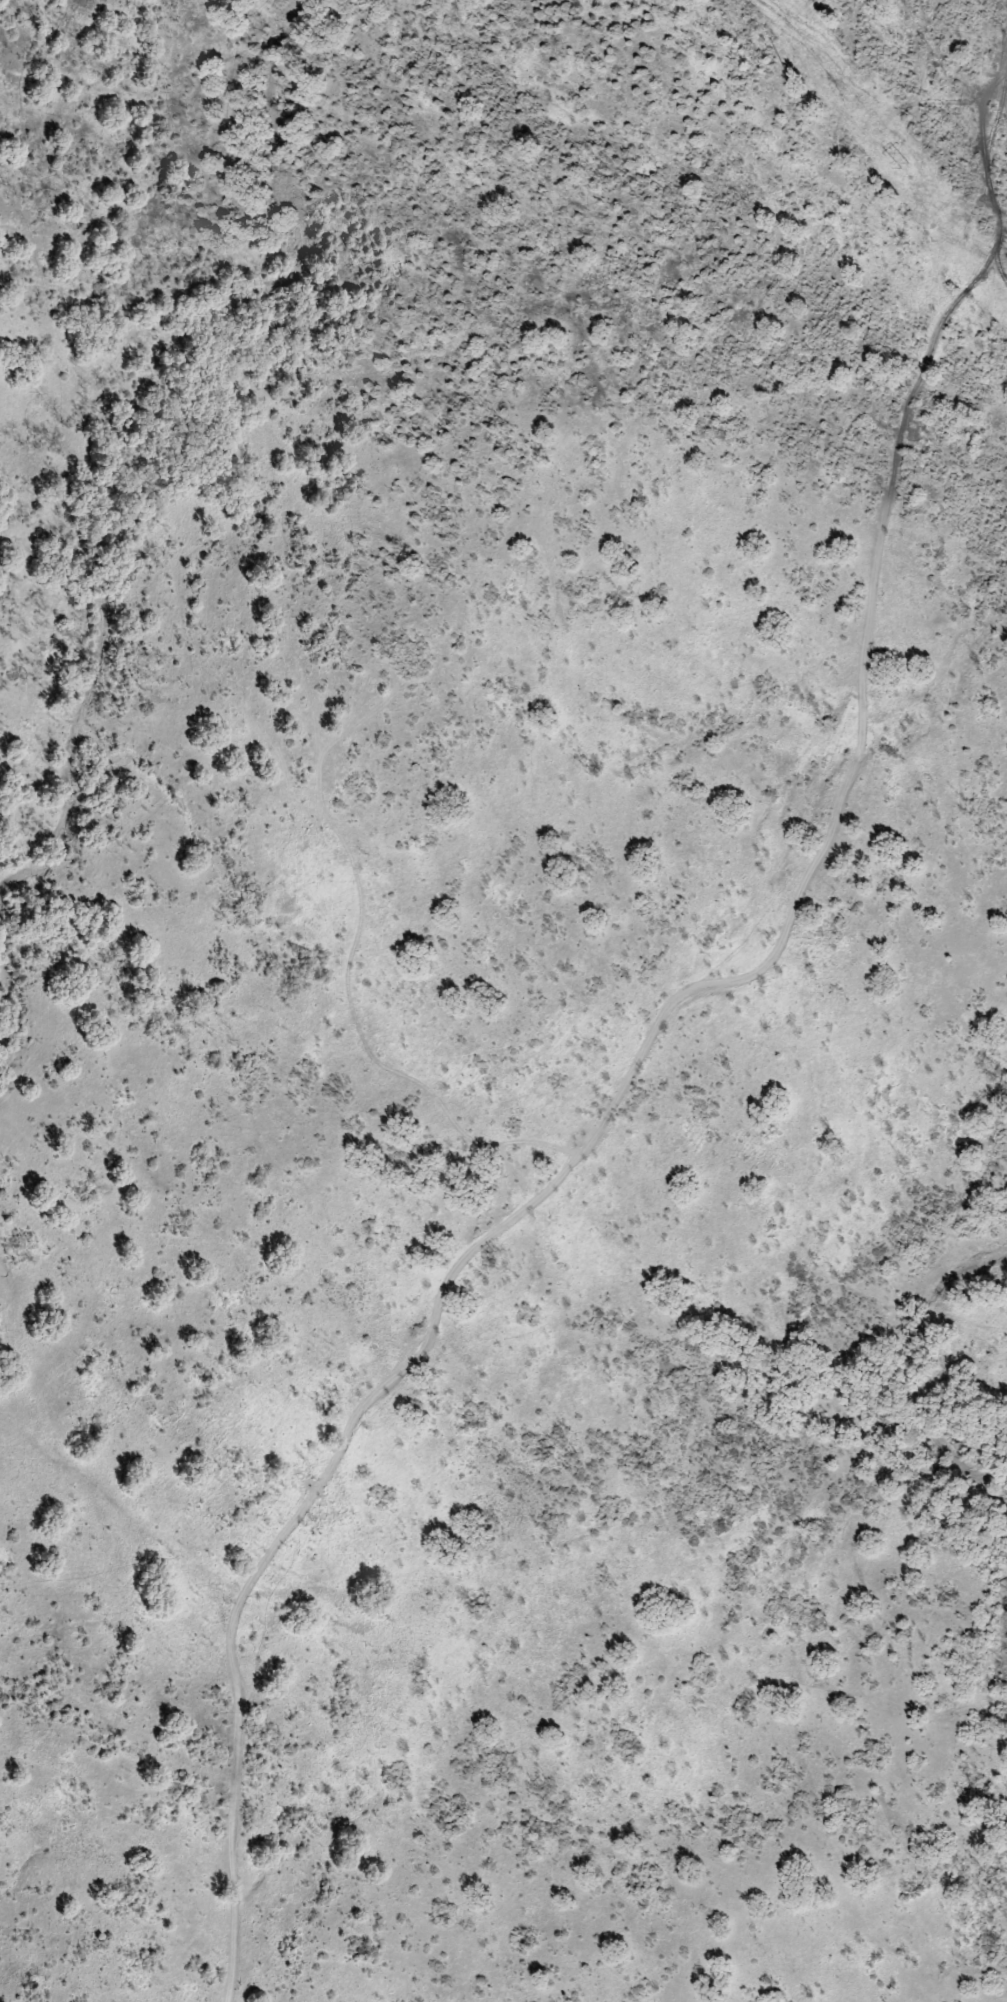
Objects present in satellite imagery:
power tower: (904, 164)
road: (643, 1051)

